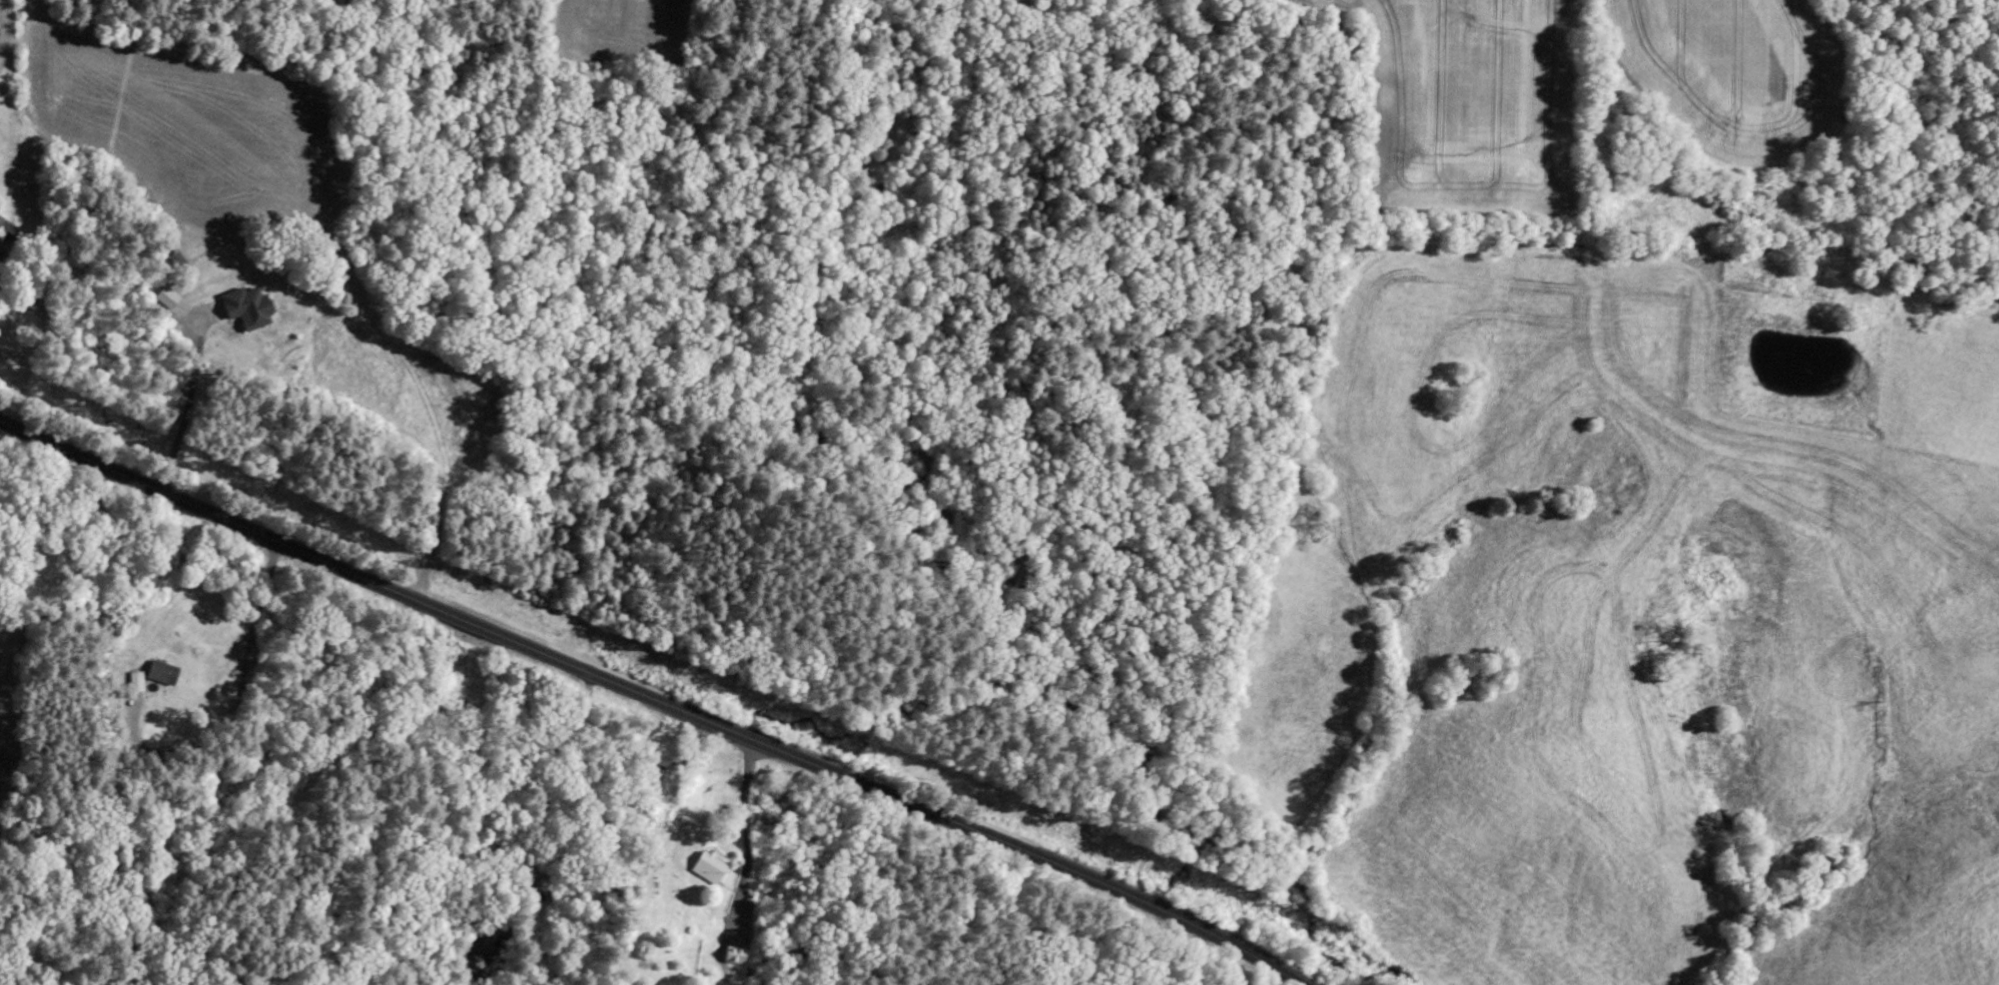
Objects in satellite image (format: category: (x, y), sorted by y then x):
building: (1, 220)
building: (166, 298)
building: (247, 308)
building: (162, 674)
building: (137, 682)
road: (660, 701)
building: (708, 868)

